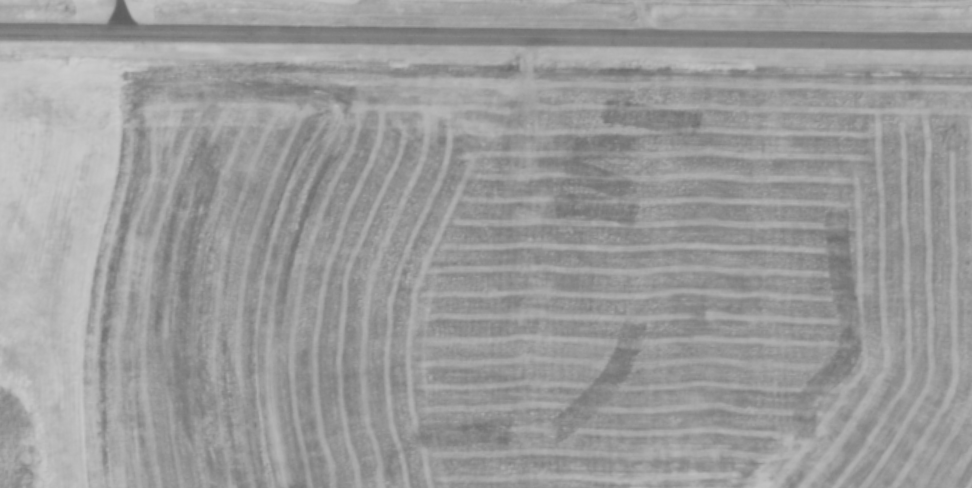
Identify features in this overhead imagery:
road: (121, 18)
road: (485, 40)

